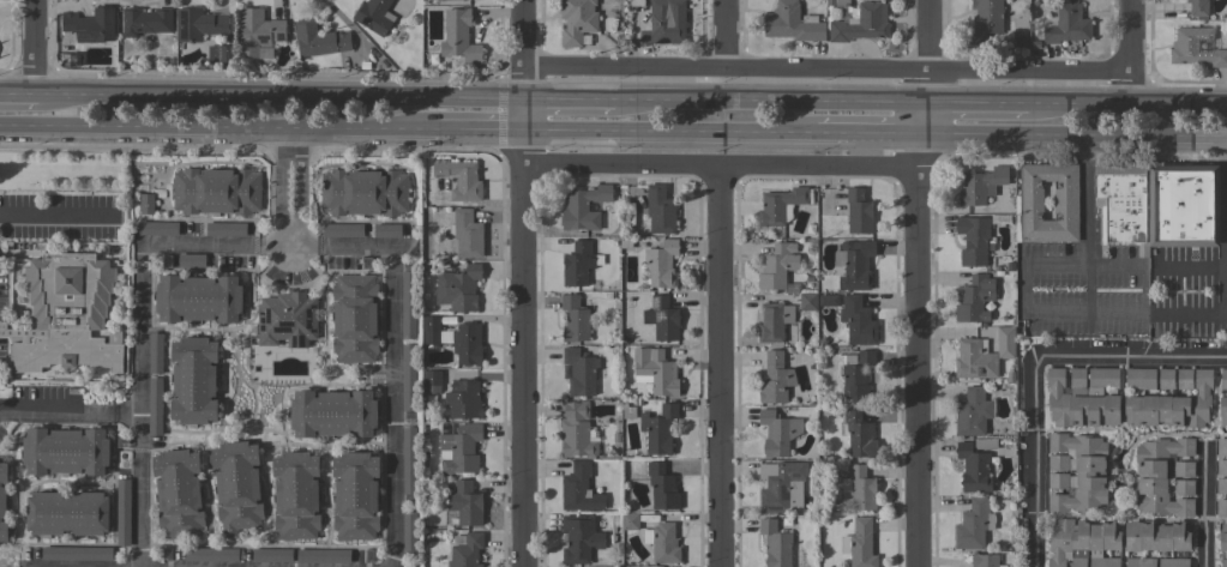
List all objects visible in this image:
building: (637, 2)
building: (1197, 7)
building: (374, 16)
building: (145, 20)
building: (577, 20)
building: (858, 20)
building: (984, 22)
building: (664, 23)
building: (792, 23)
building: (1020, 23)
building: (90, 24)
building: (198, 24)
building: (1067, 24)
road: (522, 30)
road: (723, 31)
road: (930, 32)
building: (258, 34)
building: (319, 40)
building: (458, 42)
road: (36, 46)
building: (1195, 48)
road: (1127, 53)
building: (219, 54)
road: (726, 64)
road: (1029, 66)
road: (523, 78)
road: (930, 84)
road: (18, 92)
road: (279, 94)
road: (569, 96)
road: (771, 98)
road: (976, 103)
road: (1124, 105)
road: (523, 115)
road: (928, 122)
road: (211, 134)
road: (474, 135)
road: (667, 138)
road: (1076, 140)
road: (868, 141)
road: (524, 147)
road: (921, 155)
road: (720, 162)
road: (301, 176)
building: (459, 179)
building: (980, 185)
road: (283, 189)
building: (216, 191)
building: (363, 192)
building: (1030, 200)
building: (146, 203)
building: (1121, 204)
building: (781, 205)
building: (1183, 205)
building: (582, 206)
building: (658, 210)
building: (858, 211)
road: (59, 218)
road: (1087, 225)
road: (1226, 227)
building: (157, 228)
building: (224, 228)
building: (342, 230)
building: (386, 230)
building: (465, 234)
road: (291, 240)
building: (973, 240)
building: (624, 242)
road: (287, 252)
building: (191, 260)
building: (578, 263)
building: (661, 263)
building: (856, 264)
road: (1069, 264)
building: (777, 267)
building: (458, 288)
building: (198, 298)
building: (974, 298)
building: (828, 300)
building: (807, 301)
building: (408, 304)
road: (1157, 313)
building: (64, 314)
building: (354, 318)
building: (287, 319)
building: (573, 319)
building: (663, 319)
building: (856, 320)
building: (772, 321)
building: (433, 331)
building: (467, 343)
road: (140, 349)
building: (155, 354)
building: (982, 354)
road: (524, 363)
road: (721, 364)
road: (915, 367)
road: (1034, 367)
road: (395, 369)
building: (655, 370)
building: (579, 372)
building: (856, 375)
building: (408, 376)
building: (1009, 378)
building: (775, 379)
building: (1184, 379)
building: (1223, 379)
building: (431, 380)
building: (193, 381)
building: (73, 391)
building: (1082, 397)
building: (1166, 398)
building: (463, 399)
building: (155, 406)
building: (1222, 410)
building: (626, 411)
building: (973, 411)
building: (332, 414)
road: (55, 415)
road: (126, 416)
building: (576, 429)
building: (657, 429)
building: (777, 432)
building: (858, 434)
building: (985, 444)
building: (1221, 447)
building: (459, 448)
building: (65, 451)
building: (408, 460)
building: (1221, 466)
building: (973, 468)
building: (1183, 469)
building: (1078, 471)
building: (1159, 476)
building: (1057, 479)
building: (1221, 485)
building: (236, 487)
building: (661, 487)
building: (781, 487)
building: (1183, 487)
building: (579, 489)
building: (858, 489)
building: (178, 493)
building: (295, 495)
building: (355, 495)
building: (464, 502)
building: (2, 503)
building: (1221, 507)
road: (1203, 508)
building: (122, 512)
building: (67, 513)
building: (630, 521)
building: (974, 524)
building: (408, 530)
building: (1156, 536)
building: (1223, 536)
building: (579, 538)
building: (662, 542)
building: (1082, 543)
building: (775, 544)
building: (859, 544)
building: (465, 550)
building: (76, 554)
building: (211, 554)
building: (271, 555)
building: (323, 555)
building: (985, 560)
building: (1139, 562)
building: (1173, 562)
building: (1223, 562)

